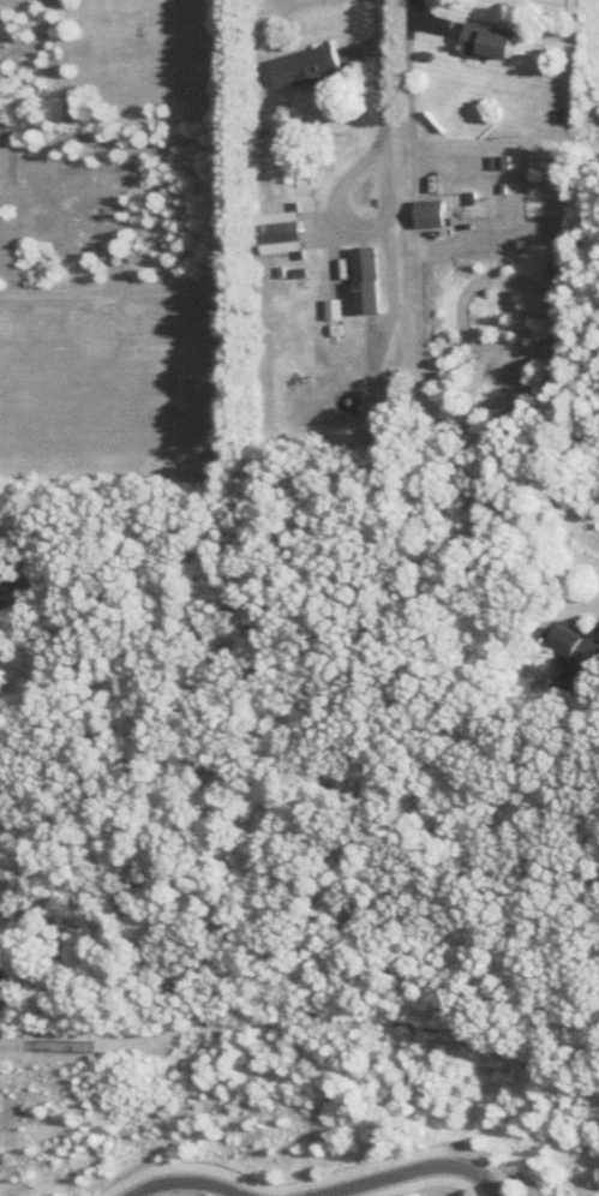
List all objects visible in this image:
building: (487, 37)
building: (305, 64)
road: (408, 74)
road: (381, 95)
building: (431, 210)
building: (280, 229)
building: (365, 277)
building: (333, 306)
building: (577, 652)
road: (409, 1170)
road: (184, 1177)

